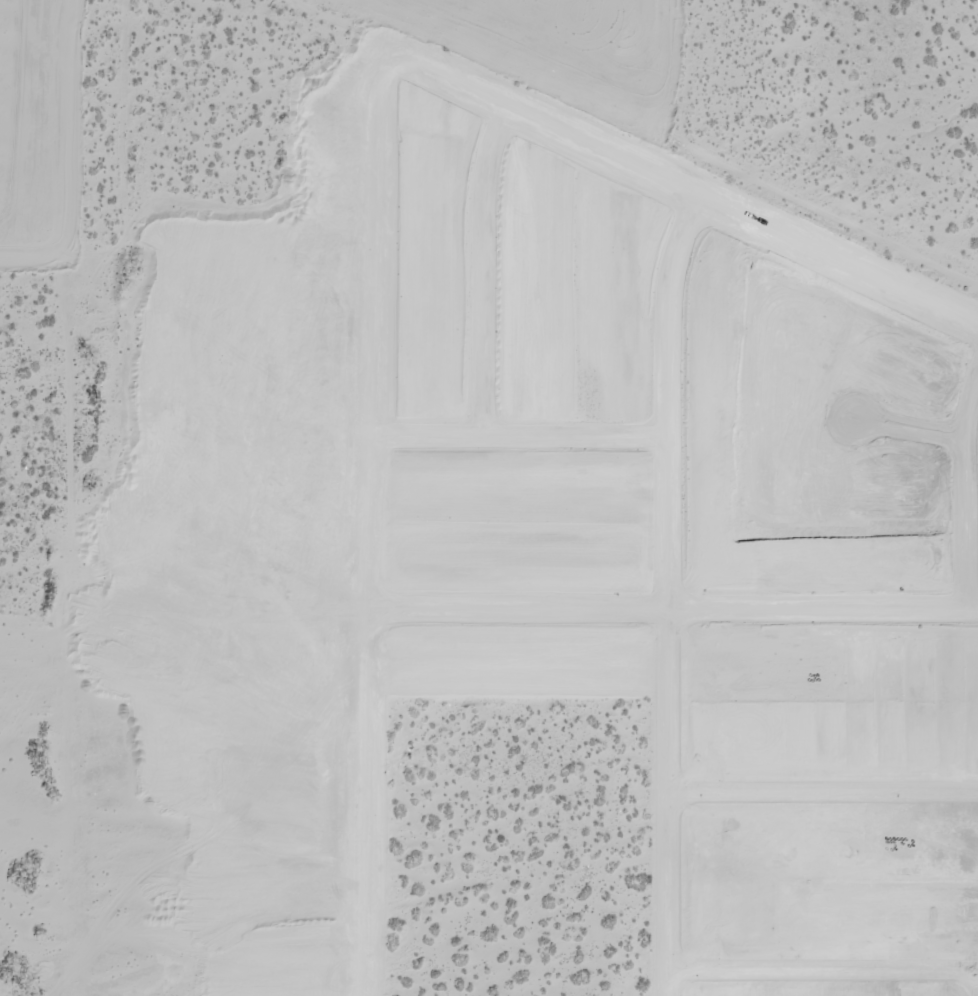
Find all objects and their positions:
road: (32, 259)

